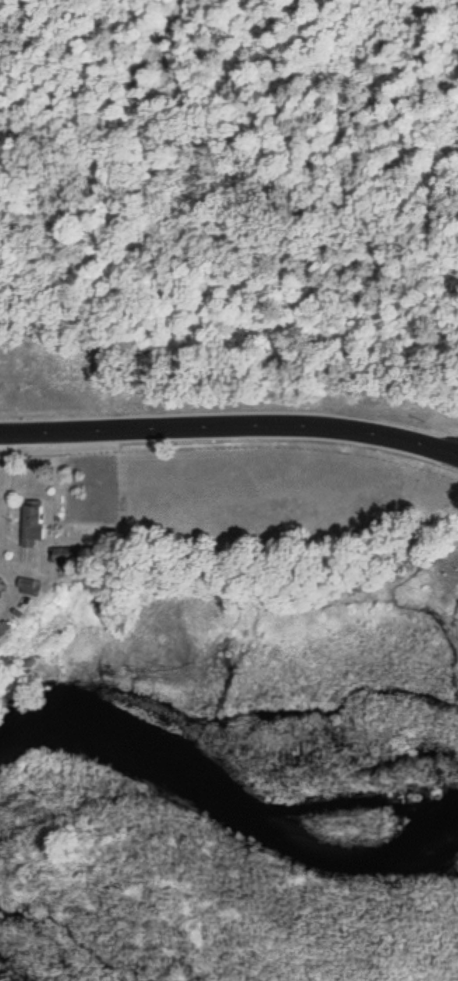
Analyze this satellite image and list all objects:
road: (230, 427)
building: (32, 526)
building: (60, 556)
building: (0, 586)
river: (224, 802)

